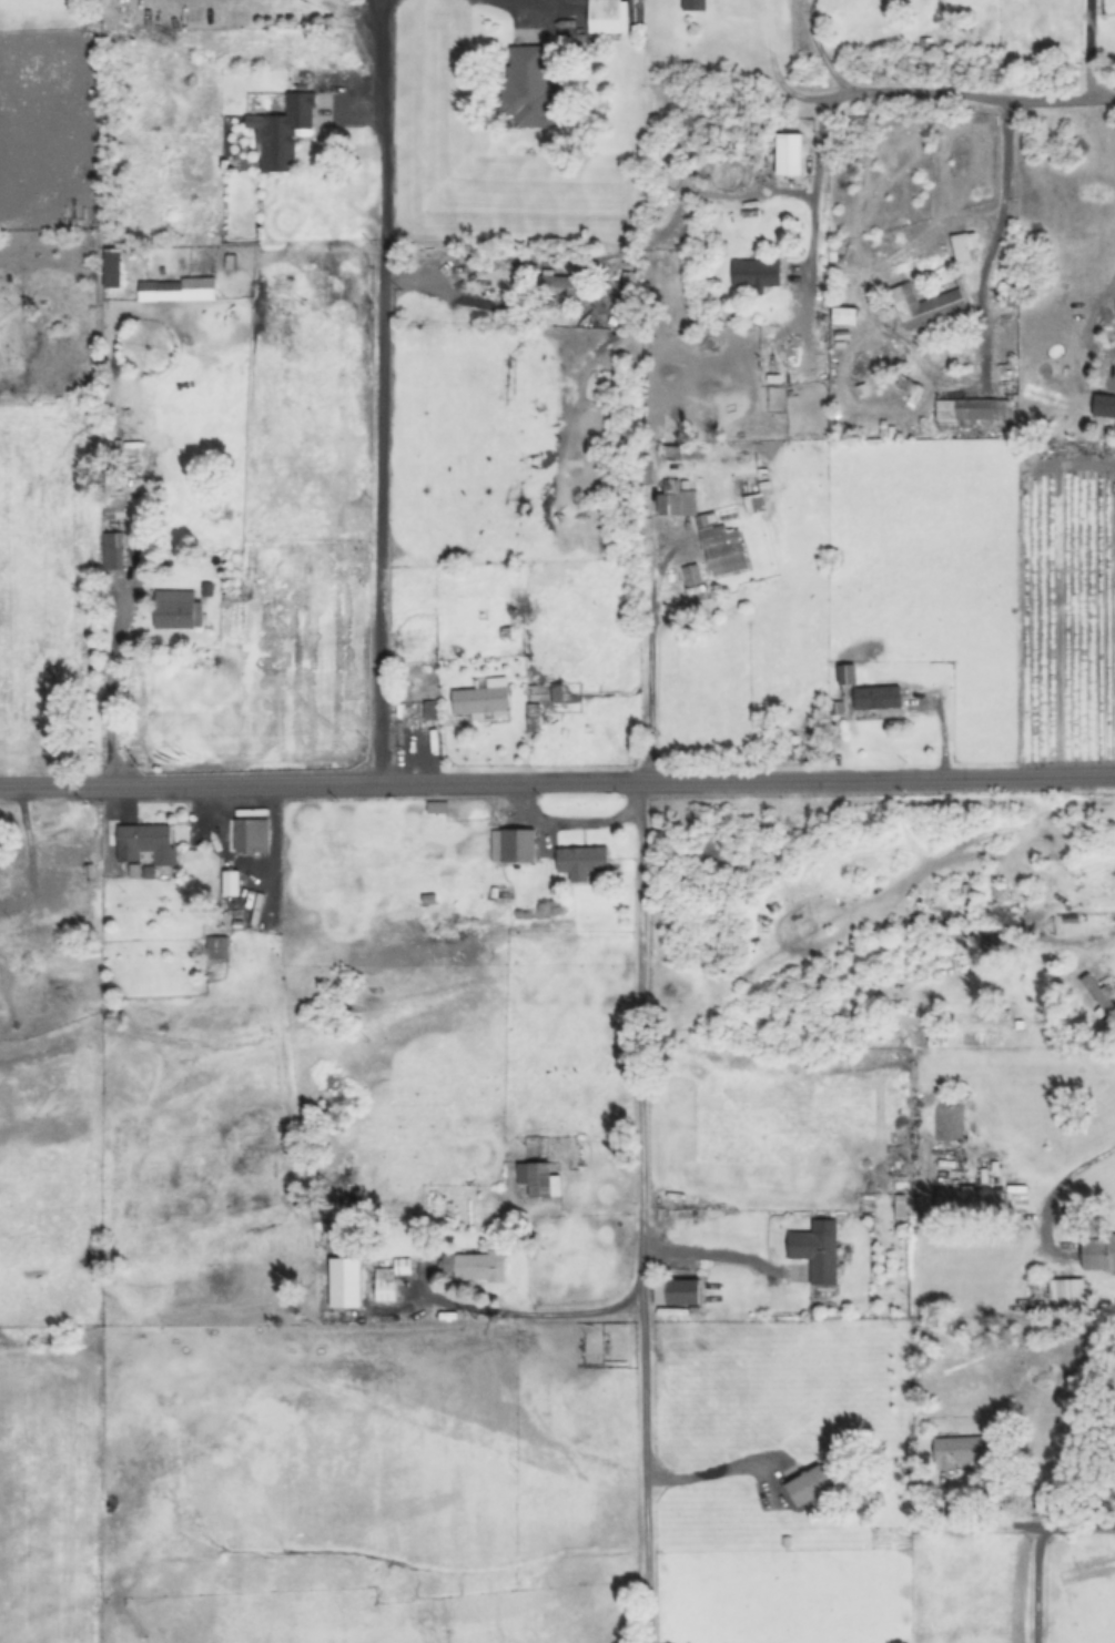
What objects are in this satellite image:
building: (692, 4)
building: (604, 17)
building: (719, 51)
road: (1091, 51)
building: (525, 88)
road: (925, 100)
road: (835, 102)
building: (281, 132)
building: (964, 246)
building: (566, 285)
building: (175, 290)
building: (925, 306)
road: (379, 396)
building: (1103, 405)
building: (970, 410)
building: (753, 504)
building: (113, 506)
building: (112, 550)
building: (690, 575)
building: (173, 609)
road: (116, 690)
building: (875, 698)
building: (480, 699)
building: (426, 712)
road: (940, 743)
road: (557, 781)
building: (250, 836)
building: (144, 845)
building: (517, 845)
building: (61, 858)
building: (580, 862)
building: (2, 910)
building: (216, 949)
building: (537, 1180)
building: (969, 1204)
road: (641, 1211)
building: (1097, 1252)
building: (814, 1255)
building: (475, 1266)
building: (389, 1279)
building: (1064, 1288)
building: (675, 1291)
building: (959, 1452)
road: (707, 1473)
building: (809, 1485)
road: (1023, 1528)
road: (1037, 1585)

